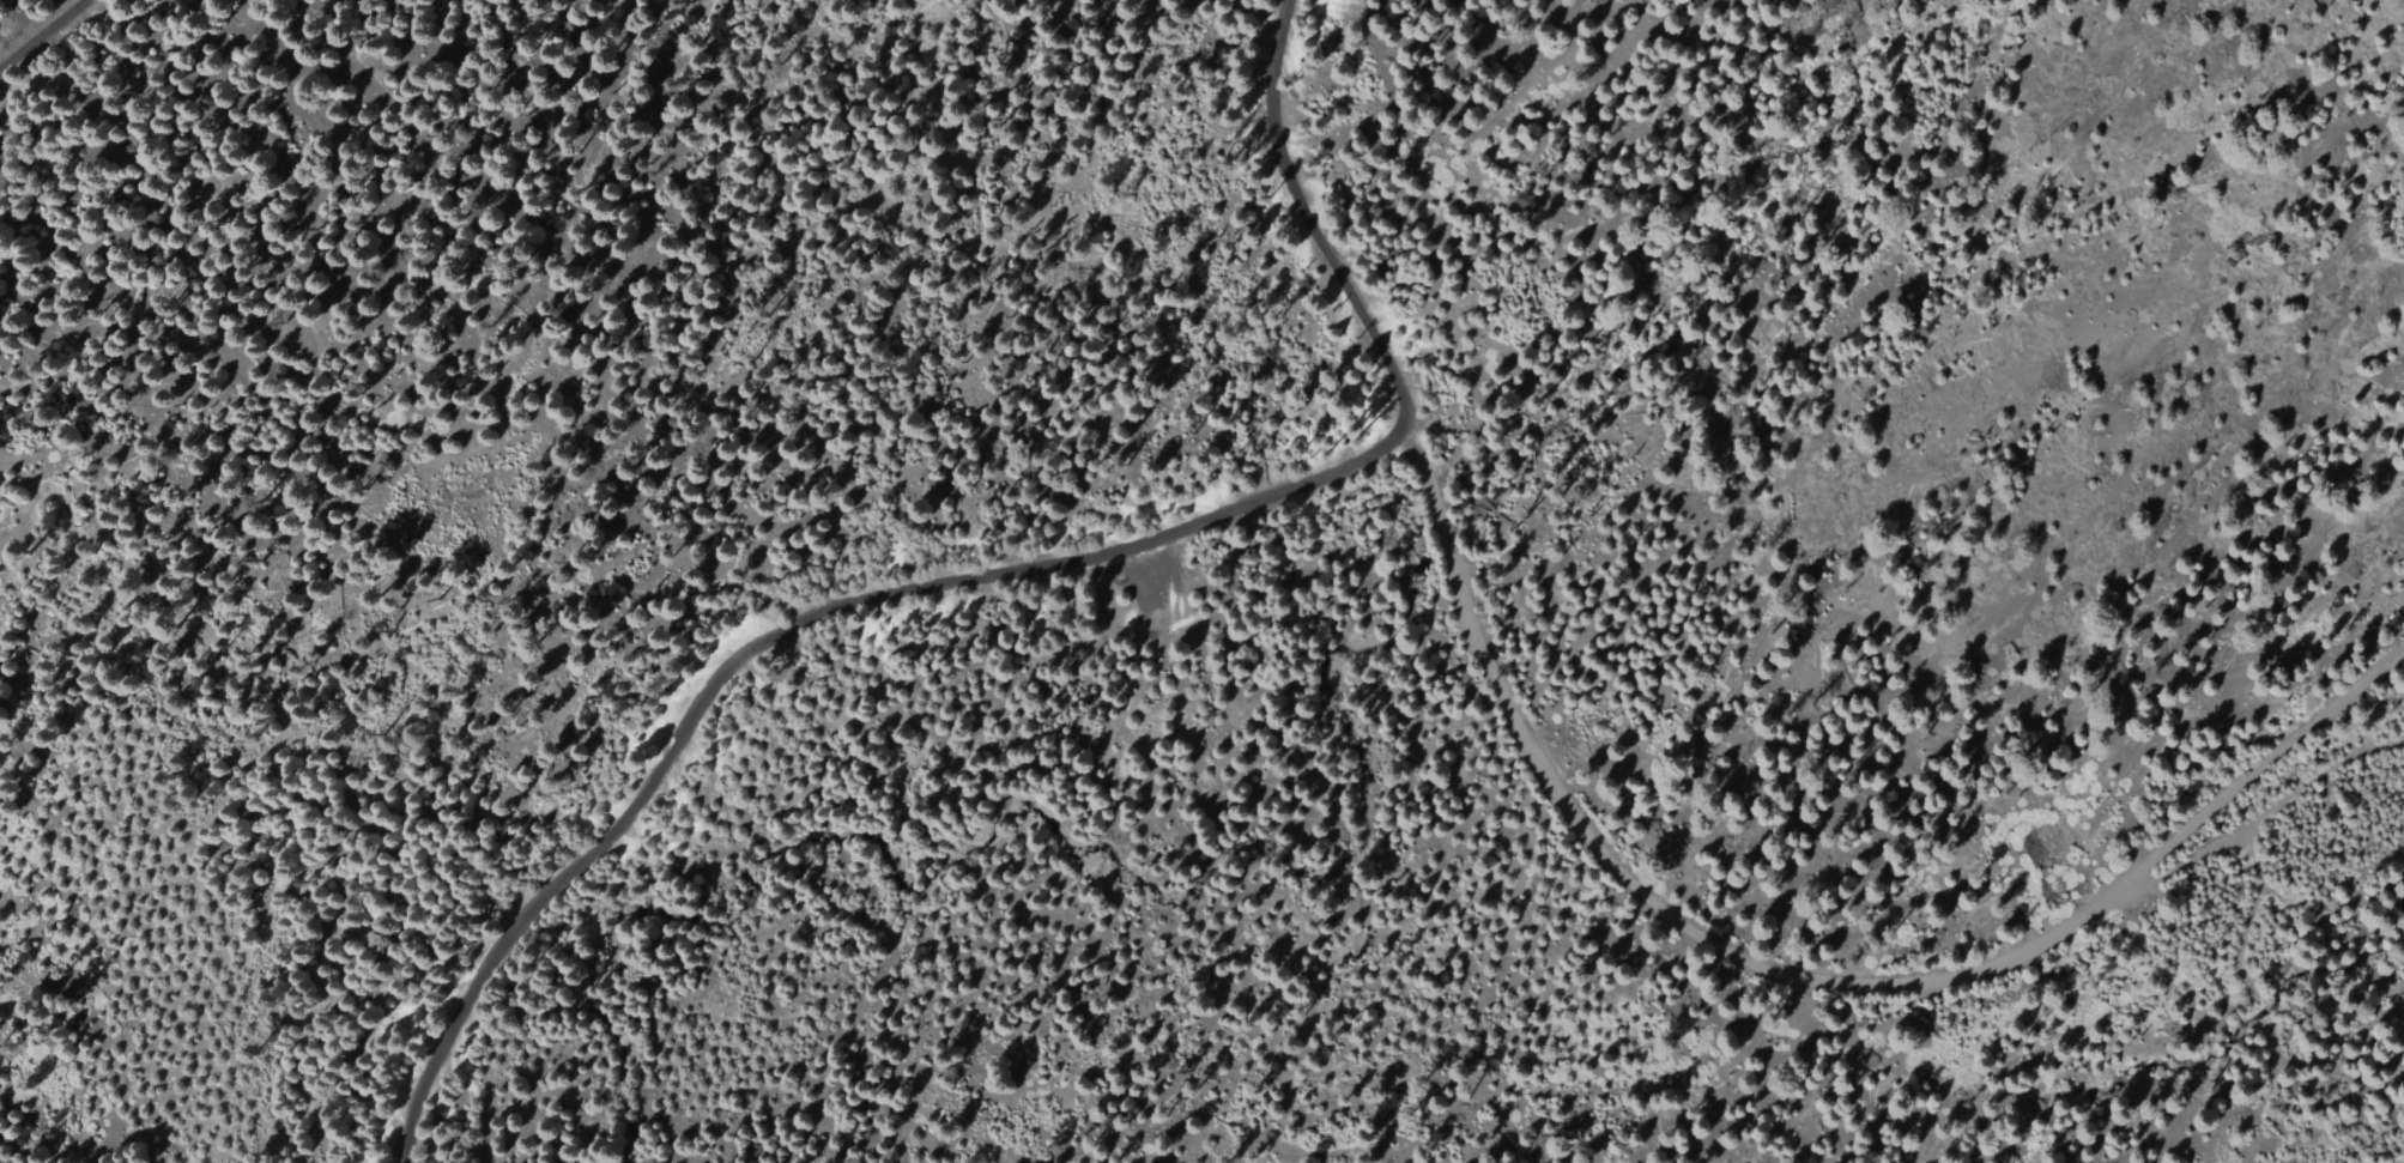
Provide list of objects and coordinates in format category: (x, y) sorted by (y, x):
road: (43, 35)
road: (1315, 234)
road: (764, 635)
road: (1793, 974)

